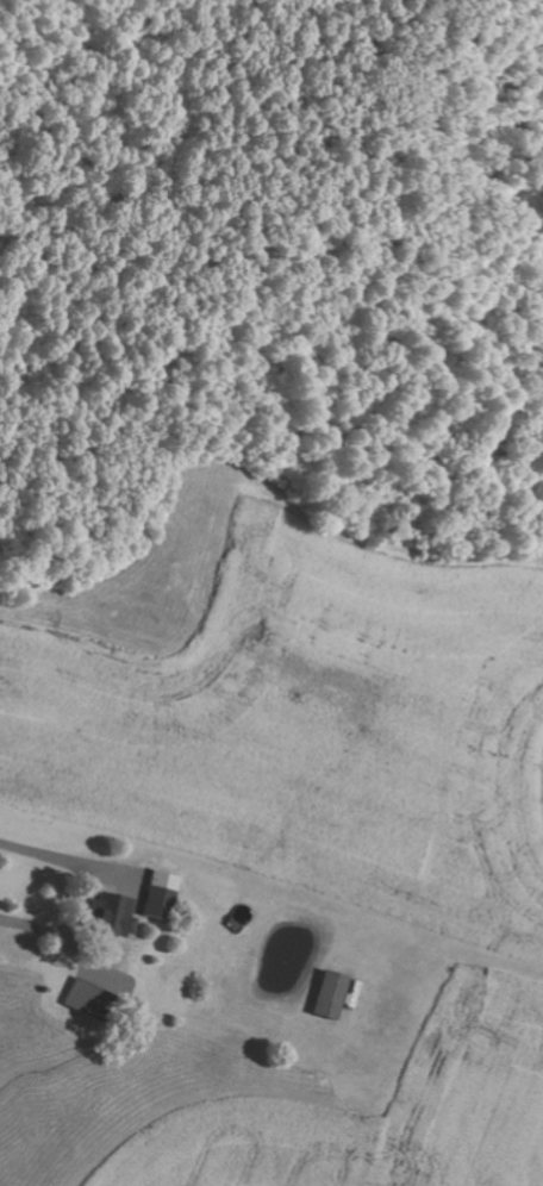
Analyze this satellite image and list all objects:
building: (156, 892)
building: (110, 915)
building: (81, 998)

